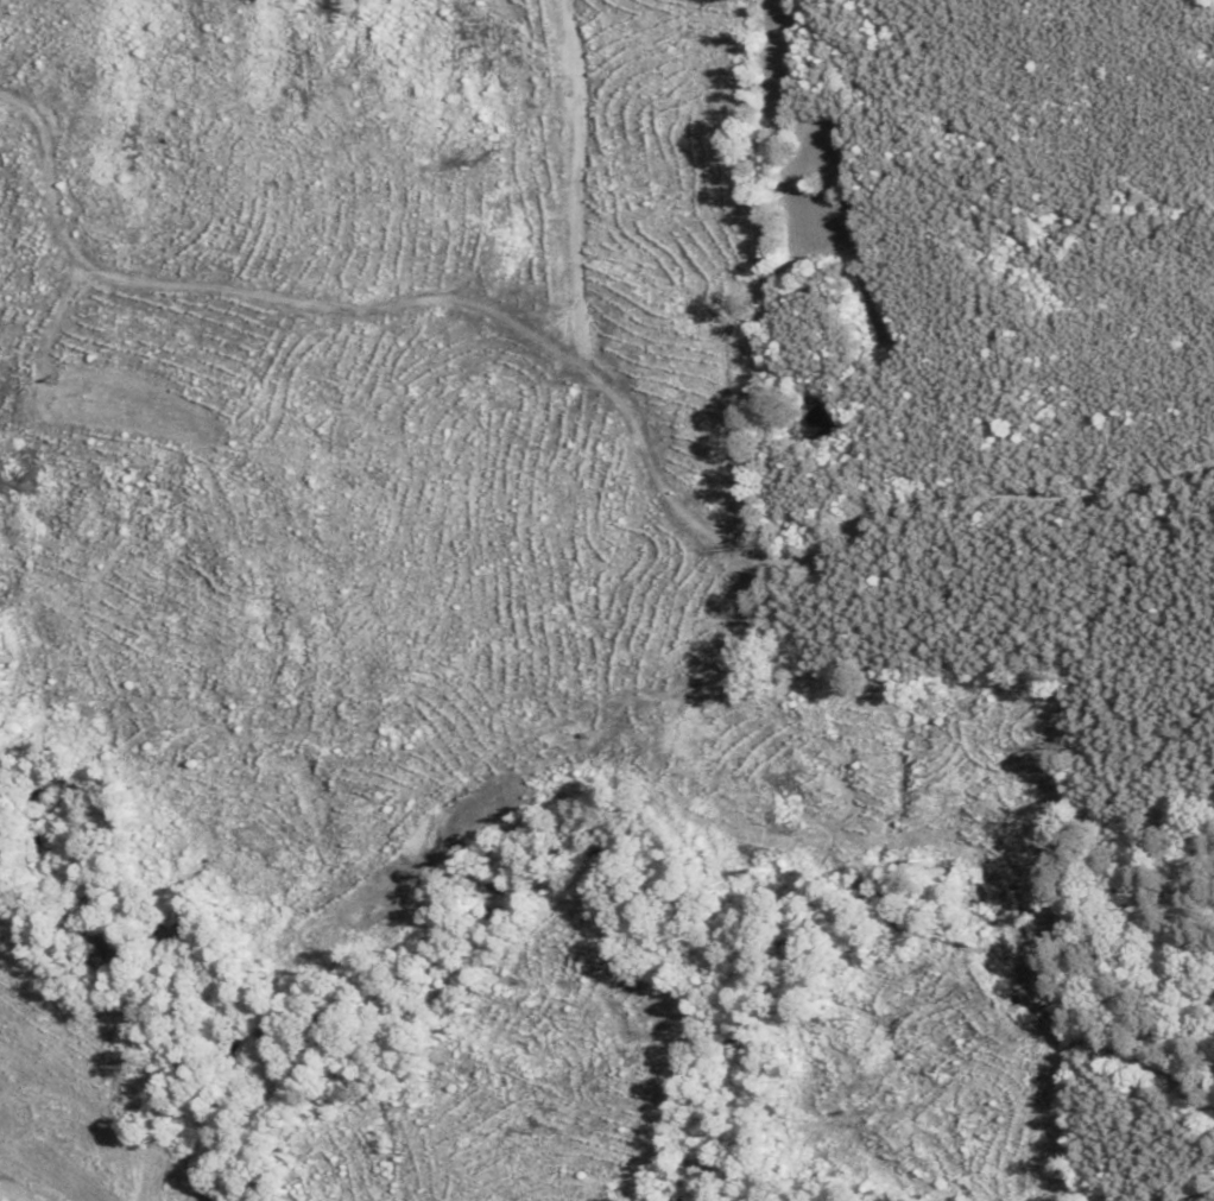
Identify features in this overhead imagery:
road: (868, 587)

